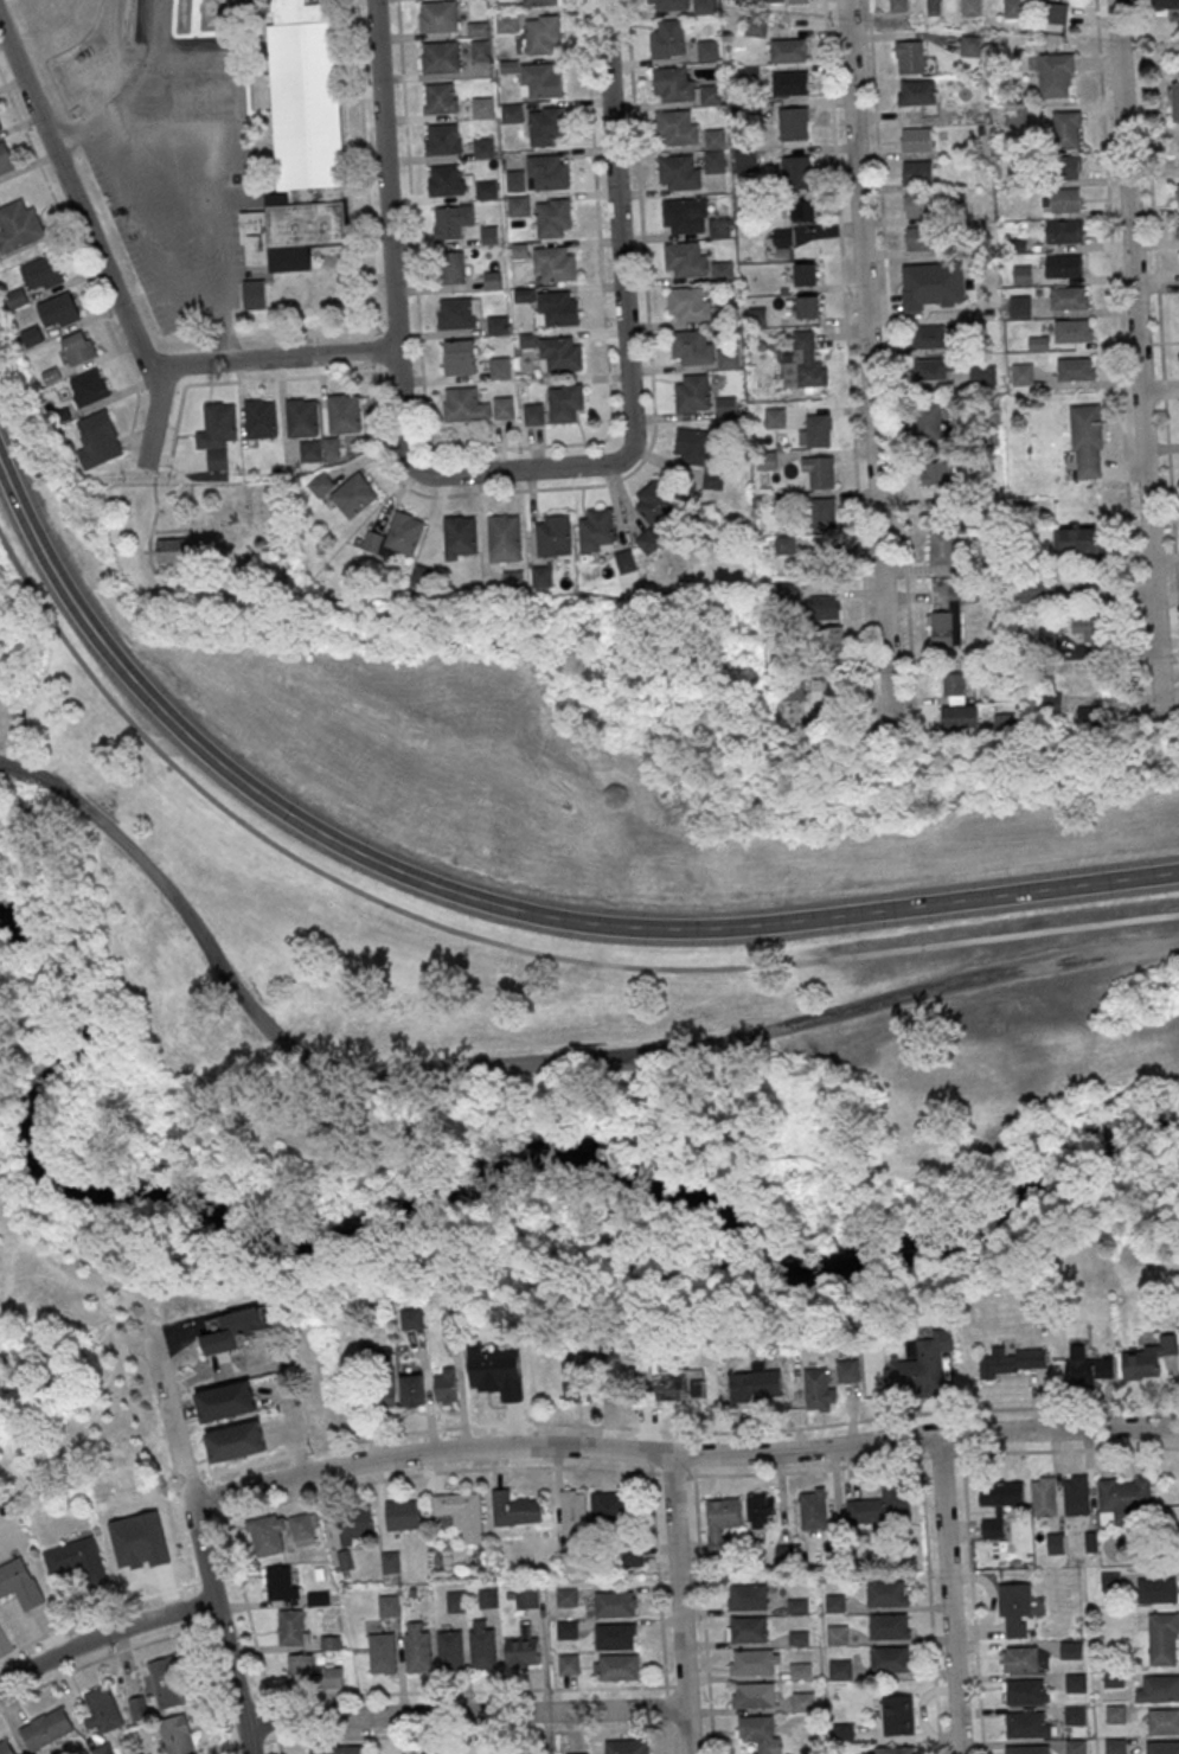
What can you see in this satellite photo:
building: (775, 0)
building: (799, 0)
building: (538, 2)
building: (668, 4)
building: (1165, 4)
building: (704, 6)
building: (898, 6)
building: (934, 7)
building: (972, 7)
building: (1013, 8)
building: (1057, 13)
building: (437, 15)
building: (506, 21)
road: (172, 24)
building: (756, 26)
building: (476, 27)
road: (156, 31)
building: (542, 33)
building: (667, 38)
building: (969, 45)
building: (707, 49)
building: (480, 50)
building: (787, 50)
building: (440, 56)
building: (914, 58)
building: (508, 65)
power substation: (91, 71)
building: (748, 73)
building: (1057, 75)
building: (542, 79)
building: (672, 83)
building: (789, 83)
building: (916, 91)
building: (710, 94)
building: (440, 97)
building: (1174, 101)
building: (481, 105)
road: (175, 108)
road: (110, 111)
building: (511, 113)
road: (223, 116)
building: (1015, 116)
building: (793, 122)
building: (545, 124)
building: (0, 126)
building: (675, 127)
road: (200, 129)
building: (1066, 129)
building: (715, 137)
building: (441, 139)
building: (915, 139)
building: (482, 146)
building: (713, 160)
building: (744, 160)
building: (5, 162)
building: (299, 167)
building: (1063, 167)
building: (547, 172)
building: (678, 172)
building: (795, 172)
building: (916, 172)
building: (444, 180)
building: (514, 180)
parking lot: (181, 185)
building: (485, 190)
building: (1178, 194)
road: (75, 198)
building: (1064, 198)
building: (918, 204)
building: (518, 205)
building: (803, 210)
building: (684, 213)
building: (552, 217)
building: (451, 219)
road: (188, 222)
building: (718, 226)
building: (1177, 228)
road: (620, 229)
building: (18, 230)
building: (1064, 231)
building: (489, 233)
road: (147, 238)
building: (918, 238)
road: (212, 244)
road: (76, 250)
building: (519, 250)
building: (684, 258)
building: (553, 263)
building: (1063, 265)
building: (451, 267)
building: (722, 270)
building: (805, 274)
building: (1021, 274)
building: (41, 276)
building: (492, 280)
building: (931, 283)
building: (524, 294)
building: (1066, 297)
building: (687, 303)
building: (1018, 305)
building: (807, 306)
building: (557, 307)
road: (1159, 308)
building: (58, 313)
building: (455, 313)
building: (756, 316)
building: (496, 324)
road: (390, 326)
building: (1071, 329)
road: (309, 331)
building: (32, 334)
road: (231, 337)
building: (930, 337)
building: (526, 339)
road: (396, 343)
building: (78, 346)
building: (690, 346)
road: (1117, 351)
building: (559, 353)
road: (891, 354)
road: (281, 357)
building: (459, 357)
building: (726, 358)
road: (848, 358)
building: (803, 363)
road: (1138, 365)
building: (499, 367)
building: (934, 367)
road: (393, 369)
road: (869, 369)
building: (1075, 369)
building: (1021, 373)
building: (979, 376)
road: (251, 378)
building: (89, 386)
building: (691, 392)
building: (564, 401)
building: (463, 404)
building: (725, 405)
building: (501, 407)
building: (532, 414)
building: (774, 416)
road: (154, 417)
building: (342, 417)
building: (301, 421)
building: (928, 421)
building: (259, 422)
building: (217, 429)
building: (816, 429)
road: (130, 435)
road: (136, 436)
building: (1085, 437)
building: (97, 443)
road: (511, 446)
building: (692, 446)
building: (331, 450)
building: (309, 454)
road: (168, 457)
building: (765, 460)
road: (173, 461)
building: (217, 462)
building: (820, 472)
building: (937, 472)
building: (713, 478)
building: (320, 484)
road: (511, 489)
building: (353, 494)
building: (655, 504)
building: (824, 512)
building: (597, 529)
road: (150, 534)
building: (553, 534)
building: (396, 536)
building: (460, 537)
building: (504, 537)
building: (648, 540)
building: (1079, 542)
building: (784, 544)
building: (942, 546)
building: (171, 553)
building: (626, 561)
building: (824, 561)
building: (421, 575)
building: (542, 575)
building: (514, 578)
building: (1037, 588)
building: (787, 591)
building: (825, 607)
building: (949, 617)
building: (1090, 628)
building: (833, 639)
building: (957, 705)
building: (1090, 717)
road: (62, 754)
park: (576, 770)
road: (496, 905)
road: (506, 946)
parking lot: (1059, 964)
road: (531, 1061)
park: (507, 1120)
road: (463, 1146)
river: (482, 1176)
road: (79, 1257)
building: (414, 1319)
building: (233, 1331)
road: (141, 1346)
building: (613, 1347)
building: (1148, 1357)
building: (1014, 1359)
building: (1085, 1366)
building: (918, 1369)
building: (848, 1370)
building: (387, 1376)
building: (576, 1376)
building: (763, 1379)
building: (510, 1382)
building: (666, 1384)
building: (447, 1387)
building: (816, 1388)
building: (412, 1391)
building: (226, 1402)
road: (550, 1423)
building: (236, 1442)
road: (681, 1452)
road: (690, 1473)
road: (320, 1492)
building: (1076, 1494)
road: (966, 1496)
building: (1044, 1496)
building: (1123, 1498)
building: (999, 1504)
building: (882, 1505)
building: (514, 1507)
building: (607, 1507)
building: (762, 1509)
building: (813, 1509)
building: (574, 1510)
building: (462, 1515)
building: (402, 1516)
building: (722, 1523)
building: (354, 1526)
building: (305, 1529)
building: (267, 1536)
road: (198, 1538)
building: (140, 1542)
building: (1056, 1542)
building: (633, 1556)
building: (76, 1561)
building: (345, 1561)
building: (568, 1561)
building: (391, 1562)
building: (281, 1583)
building: (19, 1585)
building: (1156, 1589)
building: (886, 1593)
road: (948, 1594)
building: (566, 1596)
building: (747, 1596)
building: (318, 1599)
building: (488, 1599)
building: (526, 1599)
building: (455, 1602)
building: (615, 1602)
road: (679, 1602)
building: (834, 1602)
building: (797, 1605)
building: (389, 1606)
road: (930, 1606)
building: (1015, 1608)
road: (100, 1611)
road: (660, 1612)
road: (704, 1614)
building: (889, 1626)
building: (293, 1627)
building: (747, 1628)
building: (566, 1630)
road: (103, 1634)
building: (838, 1634)
building: (615, 1635)
building: (1162, 1637)
building: (480, 1650)
building: (1071, 1650)
building: (416, 1651)
building: (448, 1651)
building: (523, 1651)
building: (380, 1653)
road: (105, 1657)
building: (891, 1658)
building: (1024, 1658)
building: (752, 1662)
building: (568, 1663)
building: (616, 1666)
building: (800, 1669)
building: (840, 1669)
building: (300, 1670)
building: (333, 1677)
building: (1075, 1682)
building: (166, 1683)
building: (1159, 1688)
road: (467, 1691)
building: (1025, 1691)
building: (754, 1695)
building: (96, 1697)
building: (802, 1701)
road: (464, 1714)
building: (898, 1714)
building: (1115, 1714)
building: (1075, 1715)
building: (95, 1721)
building: (1164, 1721)
building: (1026, 1723)
building: (46, 1728)
building: (842, 1731)
building: (760, 1733)
road: (473, 1734)
building: (178, 1735)
building: (626, 1746)
building: (1076, 1746)
building: (1115, 1746)
building: (5, 1747)
building: (1162, 1747)
building: (1026, 1748)
building: (102, 1749)
building: (335, 1749)
building: (893, 1749)
building: (577, 1753)

